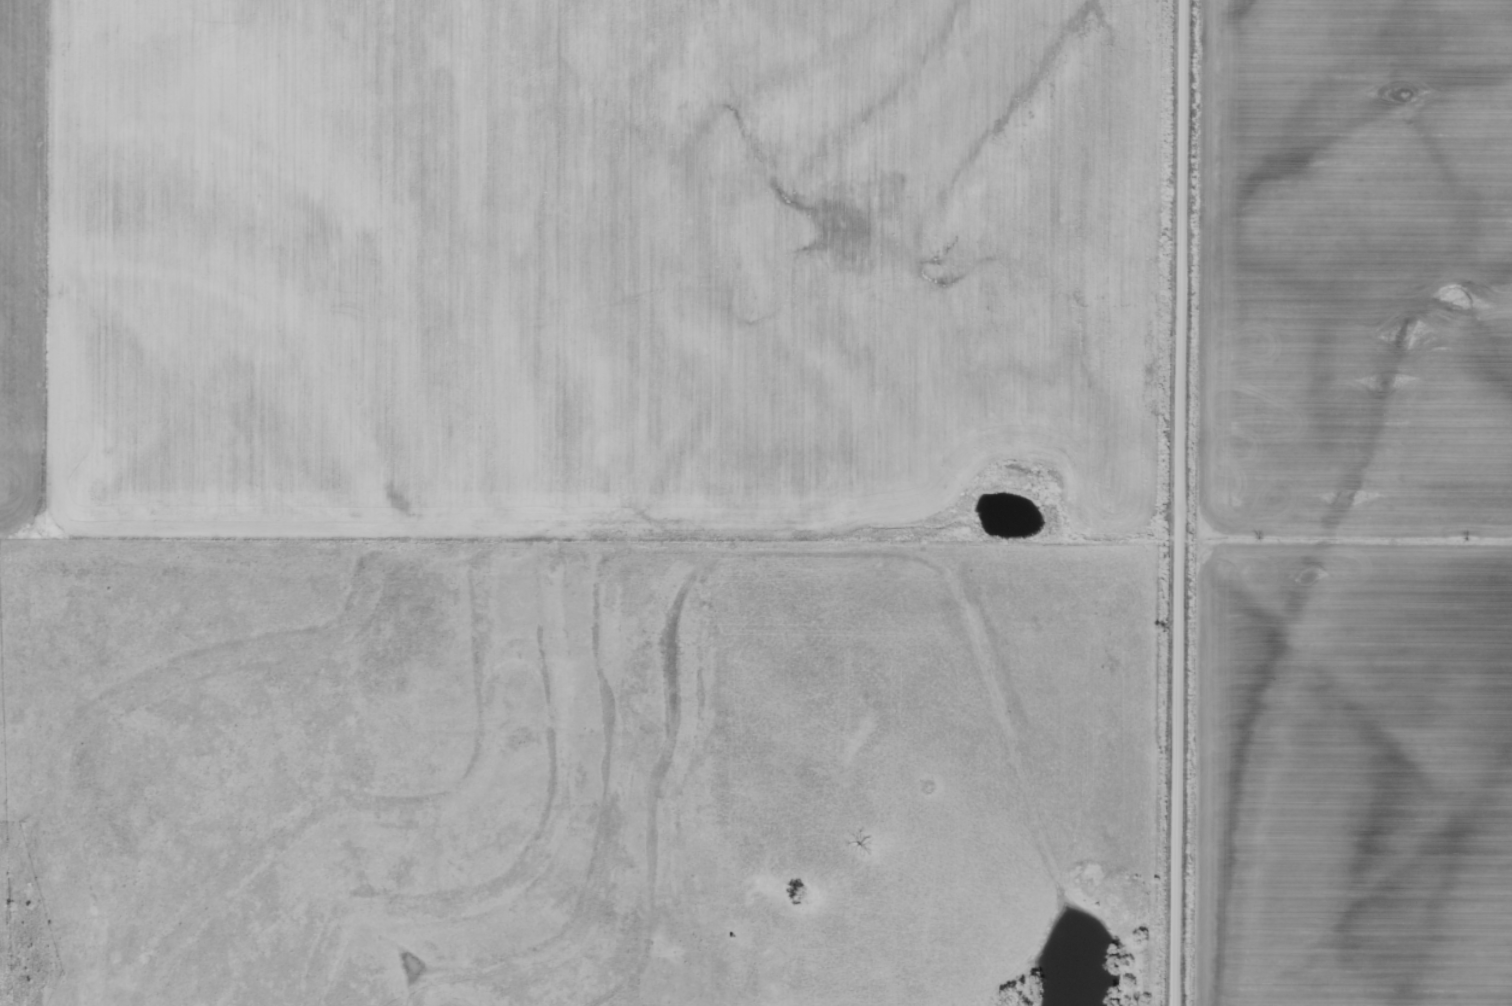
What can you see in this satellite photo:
road: (1184, 503)

